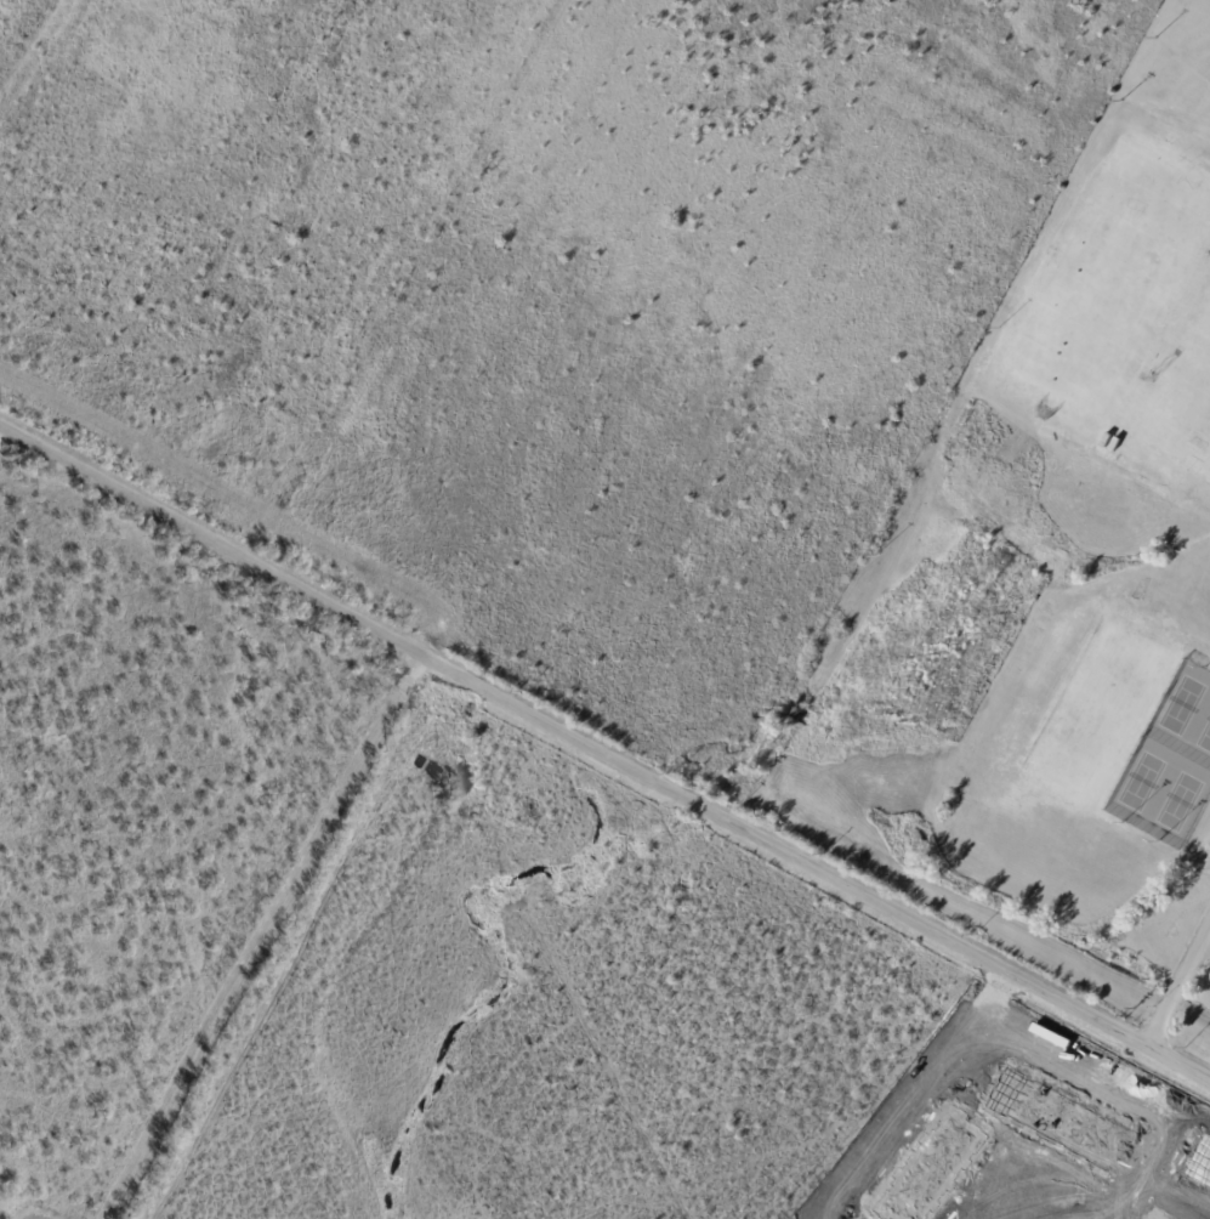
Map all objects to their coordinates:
building: (1107, 440)
building: (1117, 444)
road: (604, 750)
park: (1168, 760)
road: (1178, 983)

